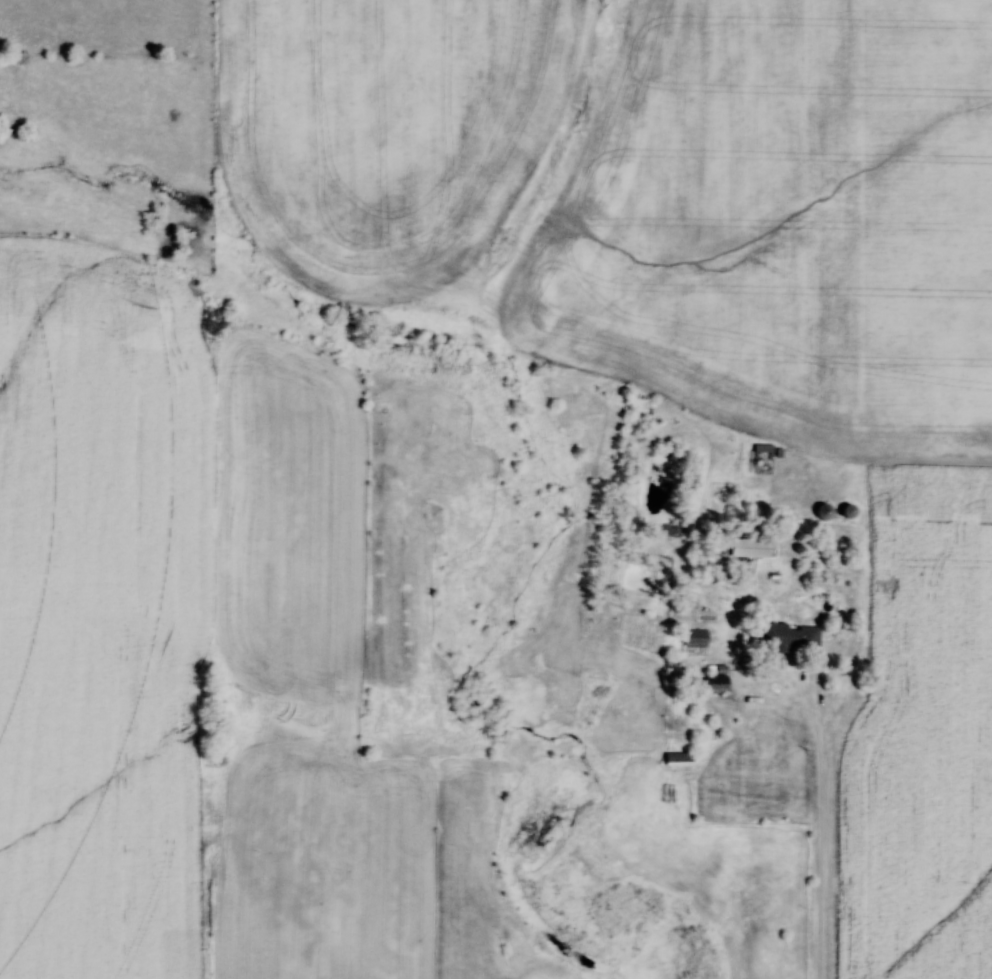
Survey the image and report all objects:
building: (761, 447)
building: (820, 511)
building: (752, 548)
building: (787, 637)
building: (694, 638)
building: (712, 684)
building: (676, 759)
road: (821, 831)

